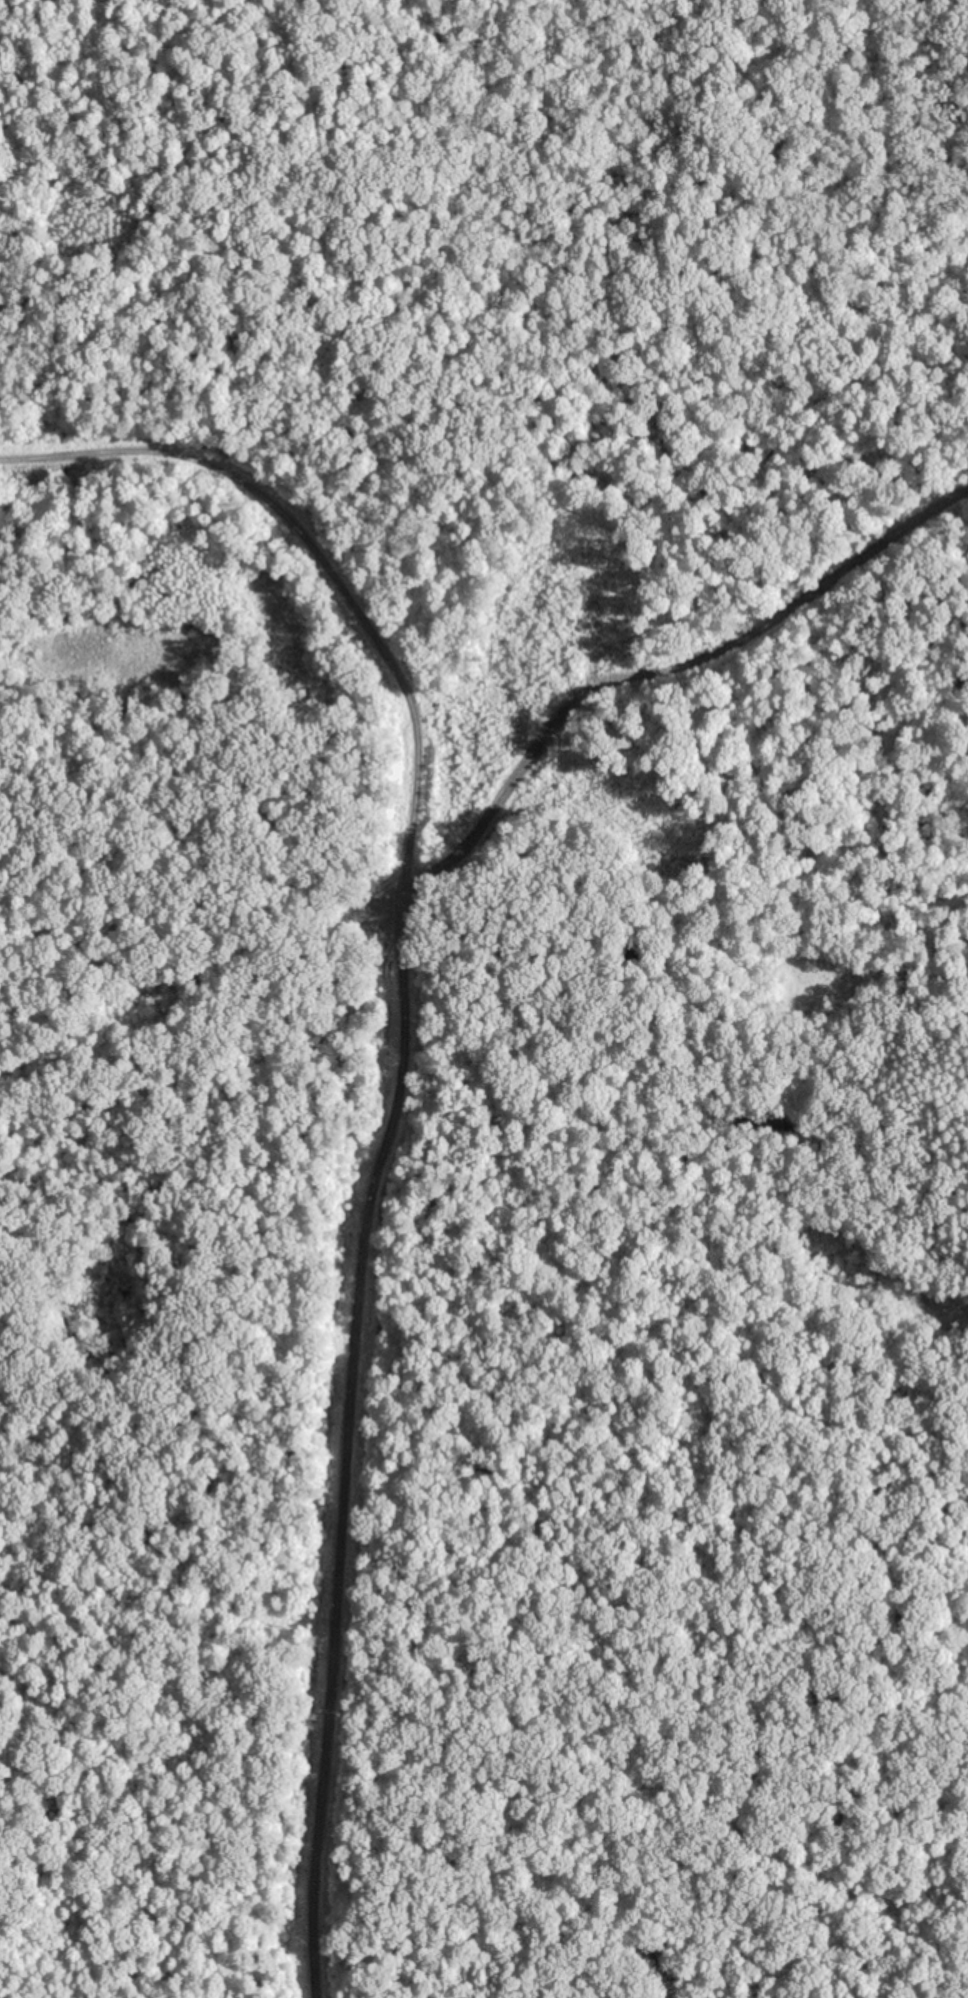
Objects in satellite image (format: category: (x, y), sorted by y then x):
road: (399, 1087)

